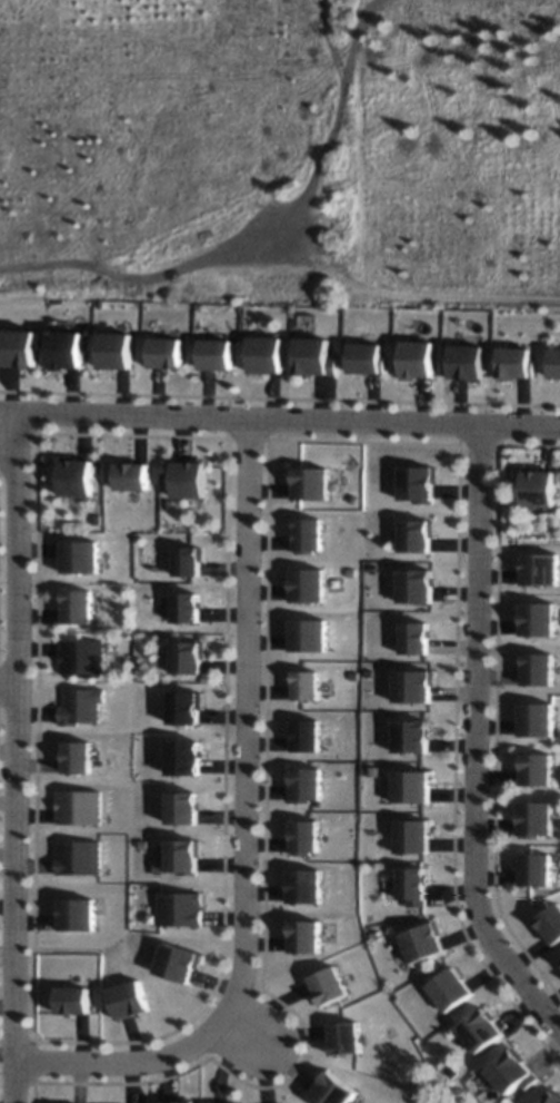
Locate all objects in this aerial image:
crop: (280, 129)
road: (163, 273)
building: (29, 347)
building: (74, 349)
building: (123, 349)
building: (172, 351)
building: (272, 352)
building: (221, 353)
building: (317, 354)
building: (370, 357)
building: (421, 357)
building: (472, 358)
building: (519, 361)
building: (557, 362)
road: (9, 416)
road: (289, 418)
building: (82, 476)
building: (136, 476)
building: (193, 480)
building: (317, 483)
building: (420, 483)
building: (541, 485)
building: (421, 532)
building: (316, 534)
building: (83, 557)
building: (193, 561)
building: (544, 567)
building: (421, 583)
building: (312, 585)
building: (81, 605)
building: (194, 605)
building: (542, 618)
building: (312, 632)
building: (421, 638)
building: (82, 656)
building: (192, 656)
building: (542, 667)
road: (7, 679)
building: (311, 681)
building: (419, 685)
building: (190, 705)
building: (82, 706)
building: (542, 718)
building: (311, 732)
building: (418, 735)
road: (477, 741)
building: (190, 755)
building: (80, 756)
road: (14, 758)
building: (542, 768)
building: (311, 784)
building: (418, 785)
building: (190, 802)
building: (82, 808)
building: (539, 817)
road: (249, 833)
building: (417, 835)
building: (309, 837)
building: (187, 855)
building: (81, 856)
building: (541, 869)
building: (419, 882)
building: (309, 887)
building: (186, 908)
building: (83, 913)
building: (551, 927)
building: (312, 936)
building: (428, 943)
building: (182, 962)
building: (332, 985)
building: (457, 991)
building: (132, 997)
building: (77, 999)
building: (488, 1028)
road: (250, 1035)
building: (350, 1038)
building: (517, 1072)
building: (340, 1090)
building: (554, 1096)
building: (172, 1102)
building: (222, 1102)

